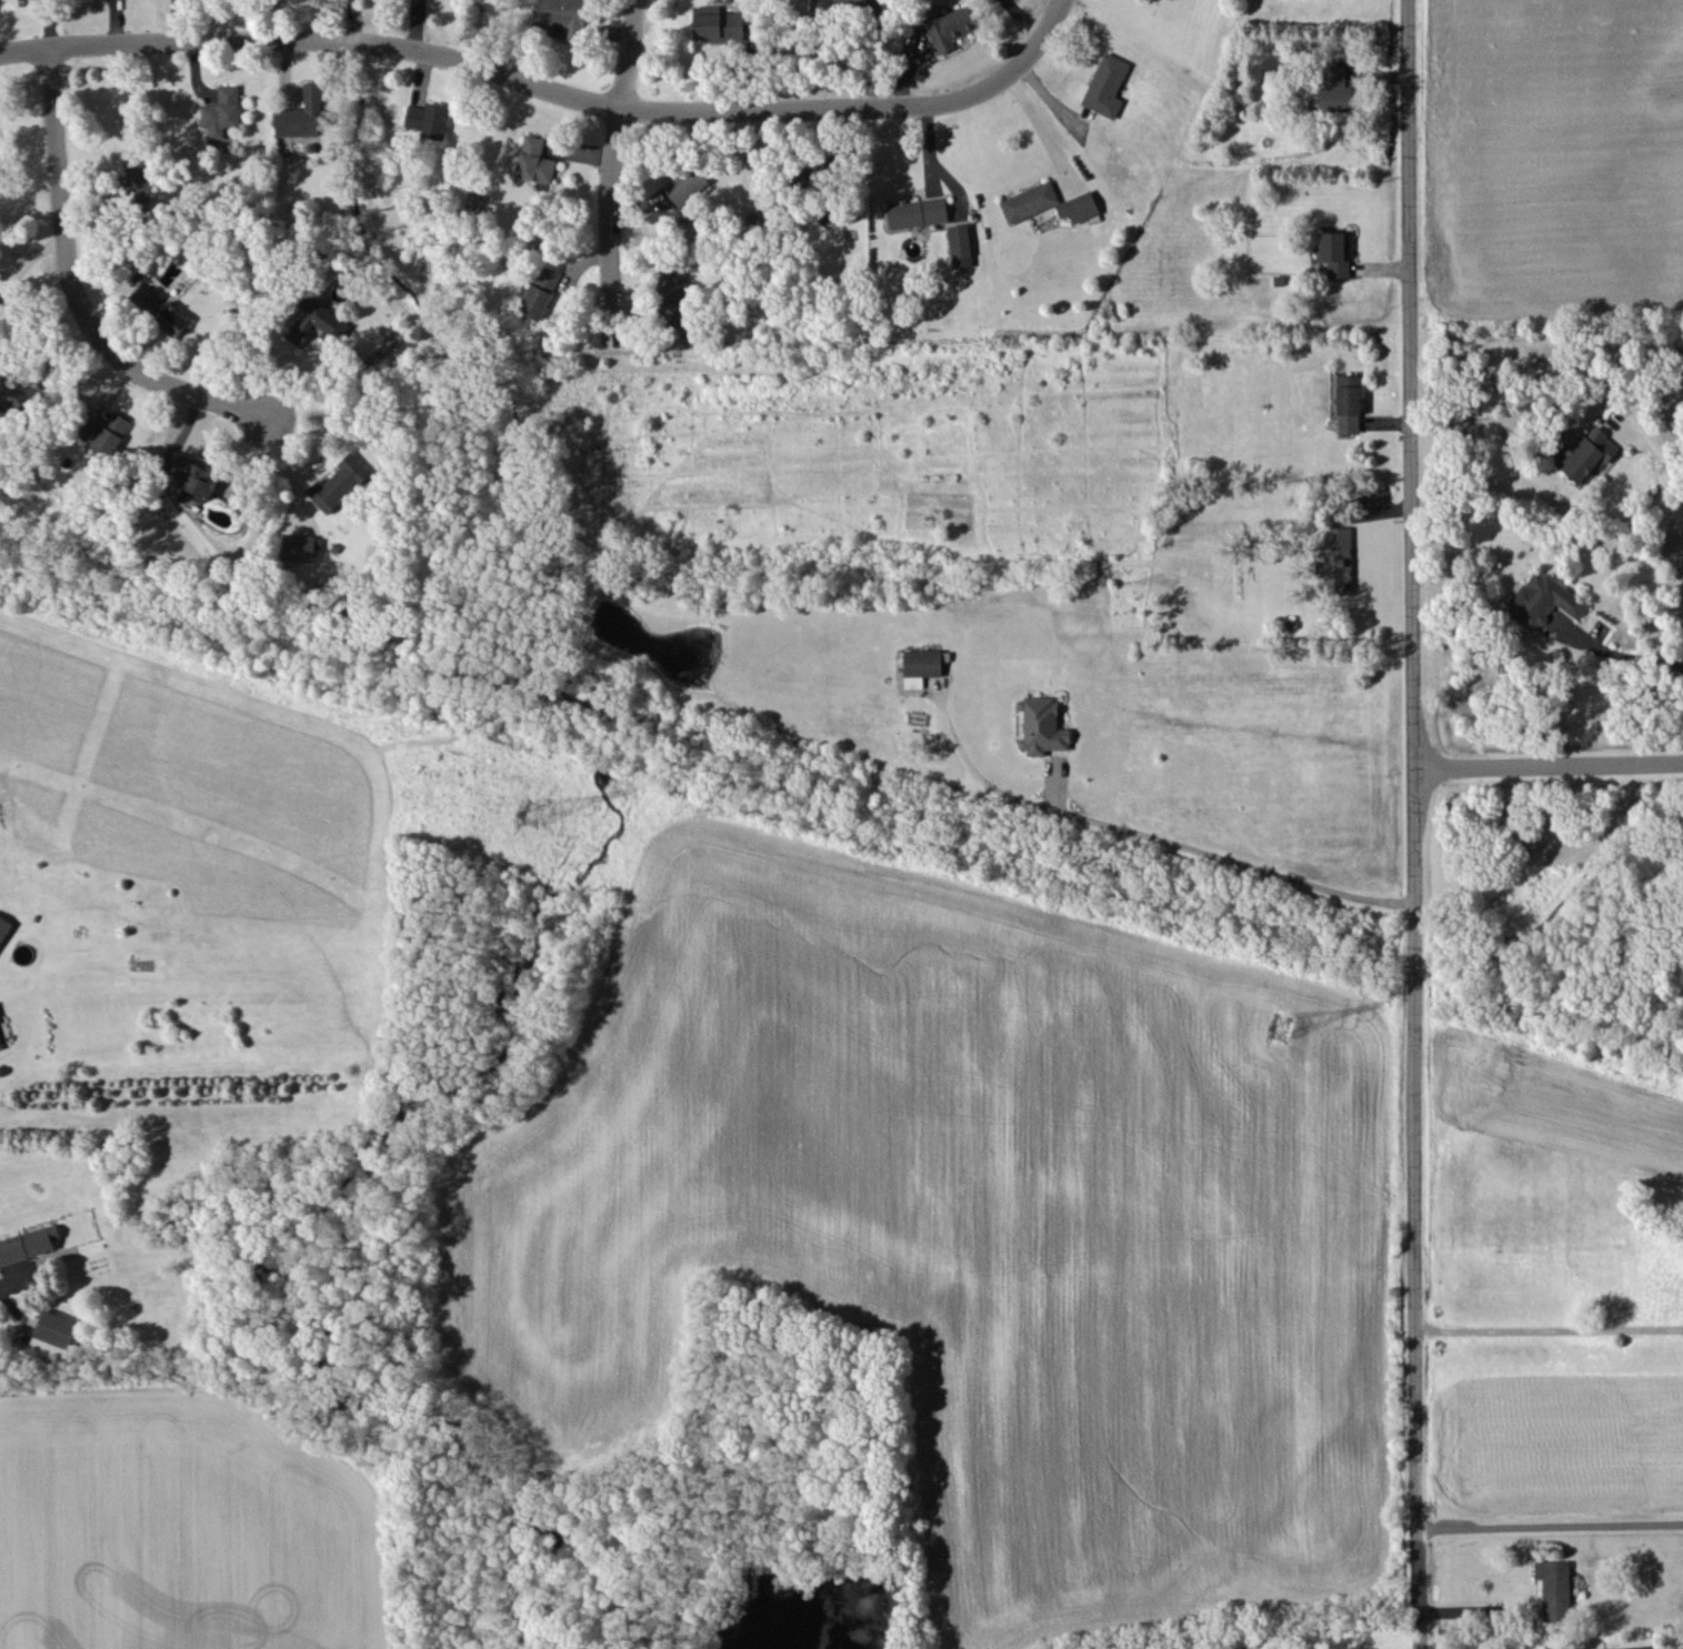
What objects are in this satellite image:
building: (844, 2)
building: (560, 17)
building: (718, 24)
building: (950, 27)
road: (631, 59)
building: (1106, 84)
road: (554, 86)
building: (1335, 90)
building: (221, 111)
building: (304, 113)
building: (428, 119)
road: (1040, 127)
building: (0, 155)
building: (534, 160)
building: (138, 175)
building: (685, 184)
road: (620, 189)
building: (1029, 201)
building: (1079, 207)
building: (916, 212)
building: (960, 245)
building: (1335, 252)
road: (78, 279)
building: (539, 293)
building: (673, 296)
building: (147, 298)
building: (171, 319)
building: (317, 323)
building: (18, 392)
building: (1349, 403)
building: (103, 431)
building: (1583, 453)
road: (1654, 453)
building: (196, 475)
building: (338, 482)
building: (299, 547)
building: (1339, 560)
building: (1542, 600)
road: (1616, 656)
building: (921, 665)
building: (1042, 725)
road: (1550, 767)
power tower: (530, 800)
road: (1417, 824)
road: (1150, 829)
building: (3, 927)
building: (0, 1020)
power tower: (1294, 1024)
building: (1, 1044)
building: (28, 1245)
road: (1551, 1328)
building: (54, 1333)
road: (1551, 1525)
building: (1554, 1588)
road: (1479, 1609)

